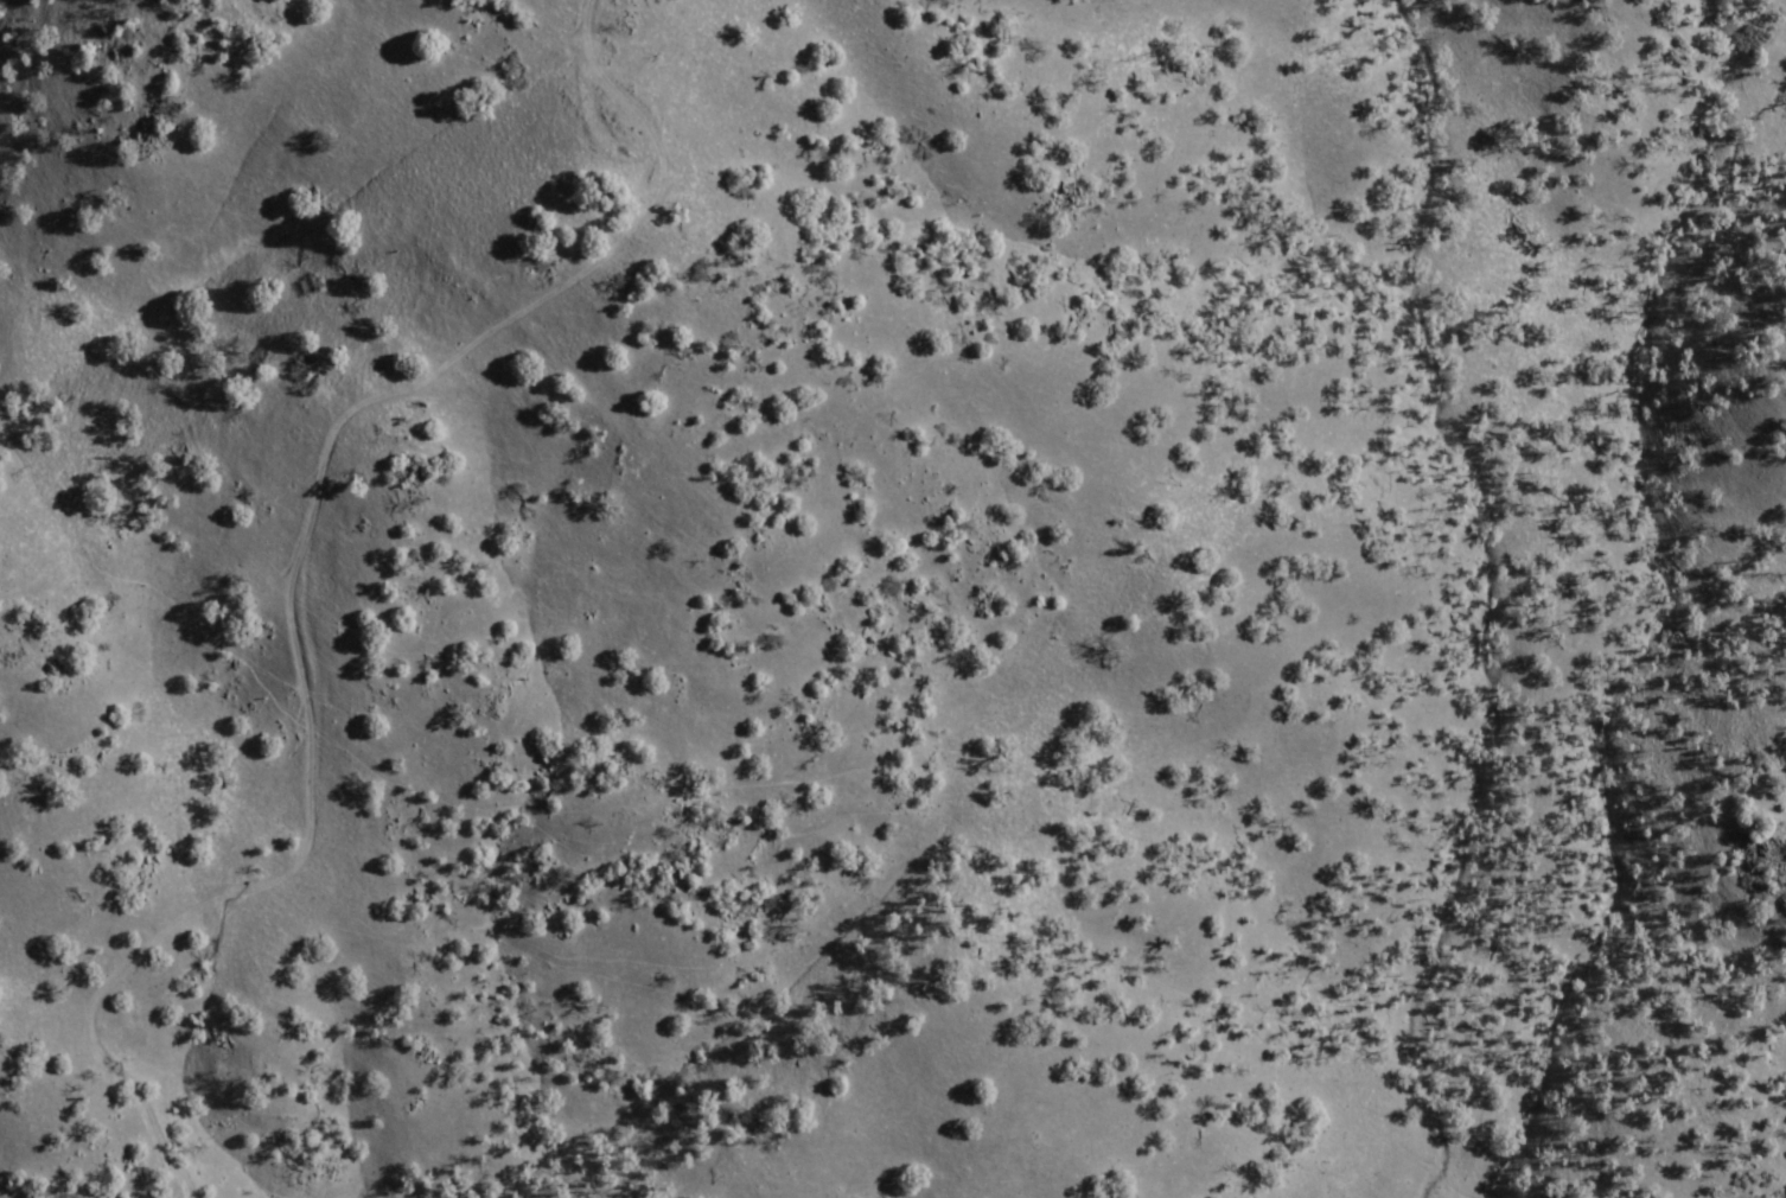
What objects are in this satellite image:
road: (581, 88)

